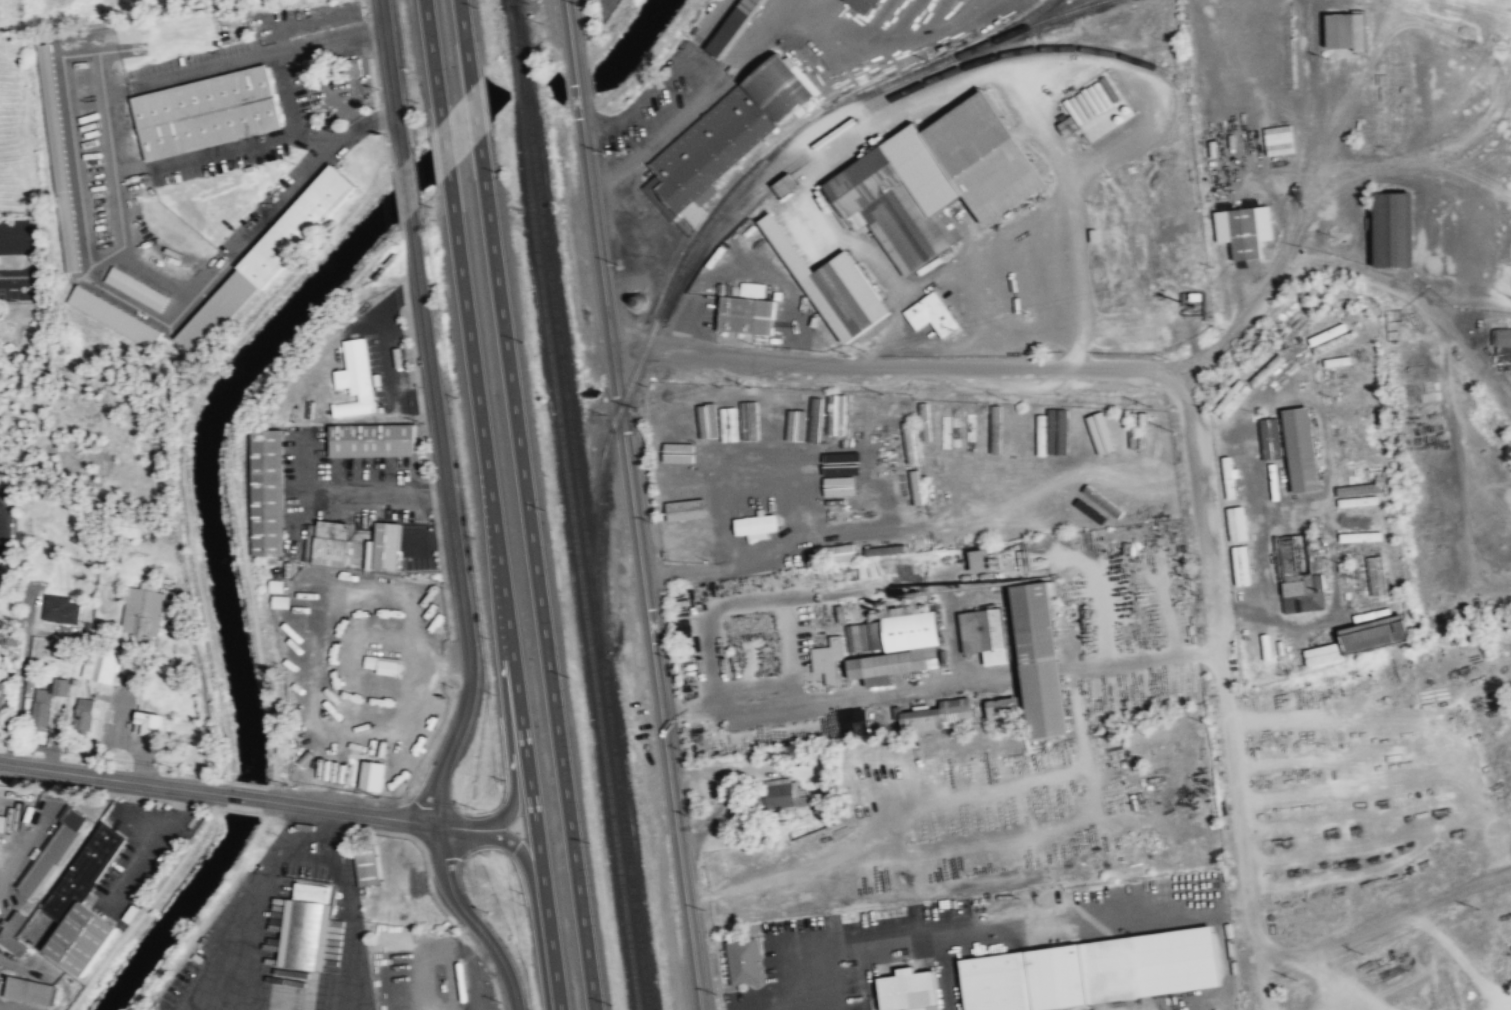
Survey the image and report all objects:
railway: (1491, 4)
building: (861, 5)
railway: (1076, 7)
railway: (1415, 11)
building: (733, 26)
railway: (1010, 27)
building: (1345, 32)
road: (465, 42)
road: (433, 59)
road: (392, 79)
road: (699, 79)
building: (781, 86)
road: (927, 92)
parking lot: (672, 100)
building: (207, 112)
road: (474, 112)
building: (1069, 124)
railway: (825, 139)
building: (1275, 140)
road: (444, 145)
building: (712, 146)
building: (58, 157)
building: (935, 180)
building: (784, 183)
road: (406, 186)
road: (397, 203)
parking lot: (634, 222)
road: (646, 226)
railway: (705, 226)
building: (1393, 229)
building: (1243, 231)
building: (267, 260)
building: (1014, 264)
building: (136, 288)
building: (838, 301)
building: (930, 313)
parking lot: (696, 314)
building: (748, 314)
building: (115, 316)
parking lot: (789, 326)
building: (1502, 346)
road: (387, 353)
road: (892, 367)
building: (1263, 370)
building: (355, 379)
building: (1229, 400)
building: (836, 413)
building: (708, 415)
building: (754, 418)
building: (777, 418)
building: (1016, 420)
building: (730, 423)
building: (801, 425)
road: (422, 428)
building: (1059, 430)
building: (1124, 433)
building: (1098, 434)
building: (372, 439)
building: (1271, 439)
building: (1253, 443)
building: (1301, 449)
building: (680, 450)
building: (841, 460)
building: (943, 464)
building: (1230, 475)
road: (232, 481)
building: (844, 482)
building: (685, 483)
building: (916, 486)
building: (1361, 488)
building: (268, 491)
road: (347, 493)
building: (1103, 500)
building: (1358, 500)
railway: (581, 505)
road: (633, 505)
building: (1075, 506)
railway: (570, 507)
building: (685, 508)
building: (129, 525)
building: (755, 526)
building: (1362, 535)
road: (430, 538)
building: (332, 542)
building: (387, 545)
building: (886, 549)
building: (841, 551)
building: (986, 558)
road: (536, 574)
building: (1377, 582)
road: (503, 590)
building: (1306, 596)
road: (1100, 597)
road: (749, 600)
building: (61, 609)
building: (143, 610)
road: (1167, 614)
road: (465, 623)
building: (985, 633)
building: (1376, 635)
building: (856, 636)
building: (1267, 645)
building: (900, 646)
building: (1250, 647)
building: (62, 649)
road: (790, 649)
building: (1323, 653)
building: (828, 658)
road: (1130, 658)
building: (1039, 660)
building: (100, 664)
building: (389, 665)
road: (1222, 666)
road: (838, 698)
building: (1, 704)
building: (44, 705)
building: (1004, 708)
building: (938, 715)
building: (83, 716)
building: (150, 722)
building: (850, 722)
building: (373, 774)
road: (114, 778)
building: (781, 795)
road: (246, 796)
road: (319, 817)
road: (416, 820)
building: (3, 823)
building: (50, 853)
building: (367, 863)
building: (1171, 889)
building: (82, 902)
building: (405, 906)
road: (254, 908)
road: (352, 914)
road: (1394, 919)
building: (307, 926)
building: (13, 932)
road: (435, 950)
quarry: (1399, 958)
building: (745, 960)
building: (1095, 971)
road: (1259, 971)
building: (913, 989)
building: (28, 990)

